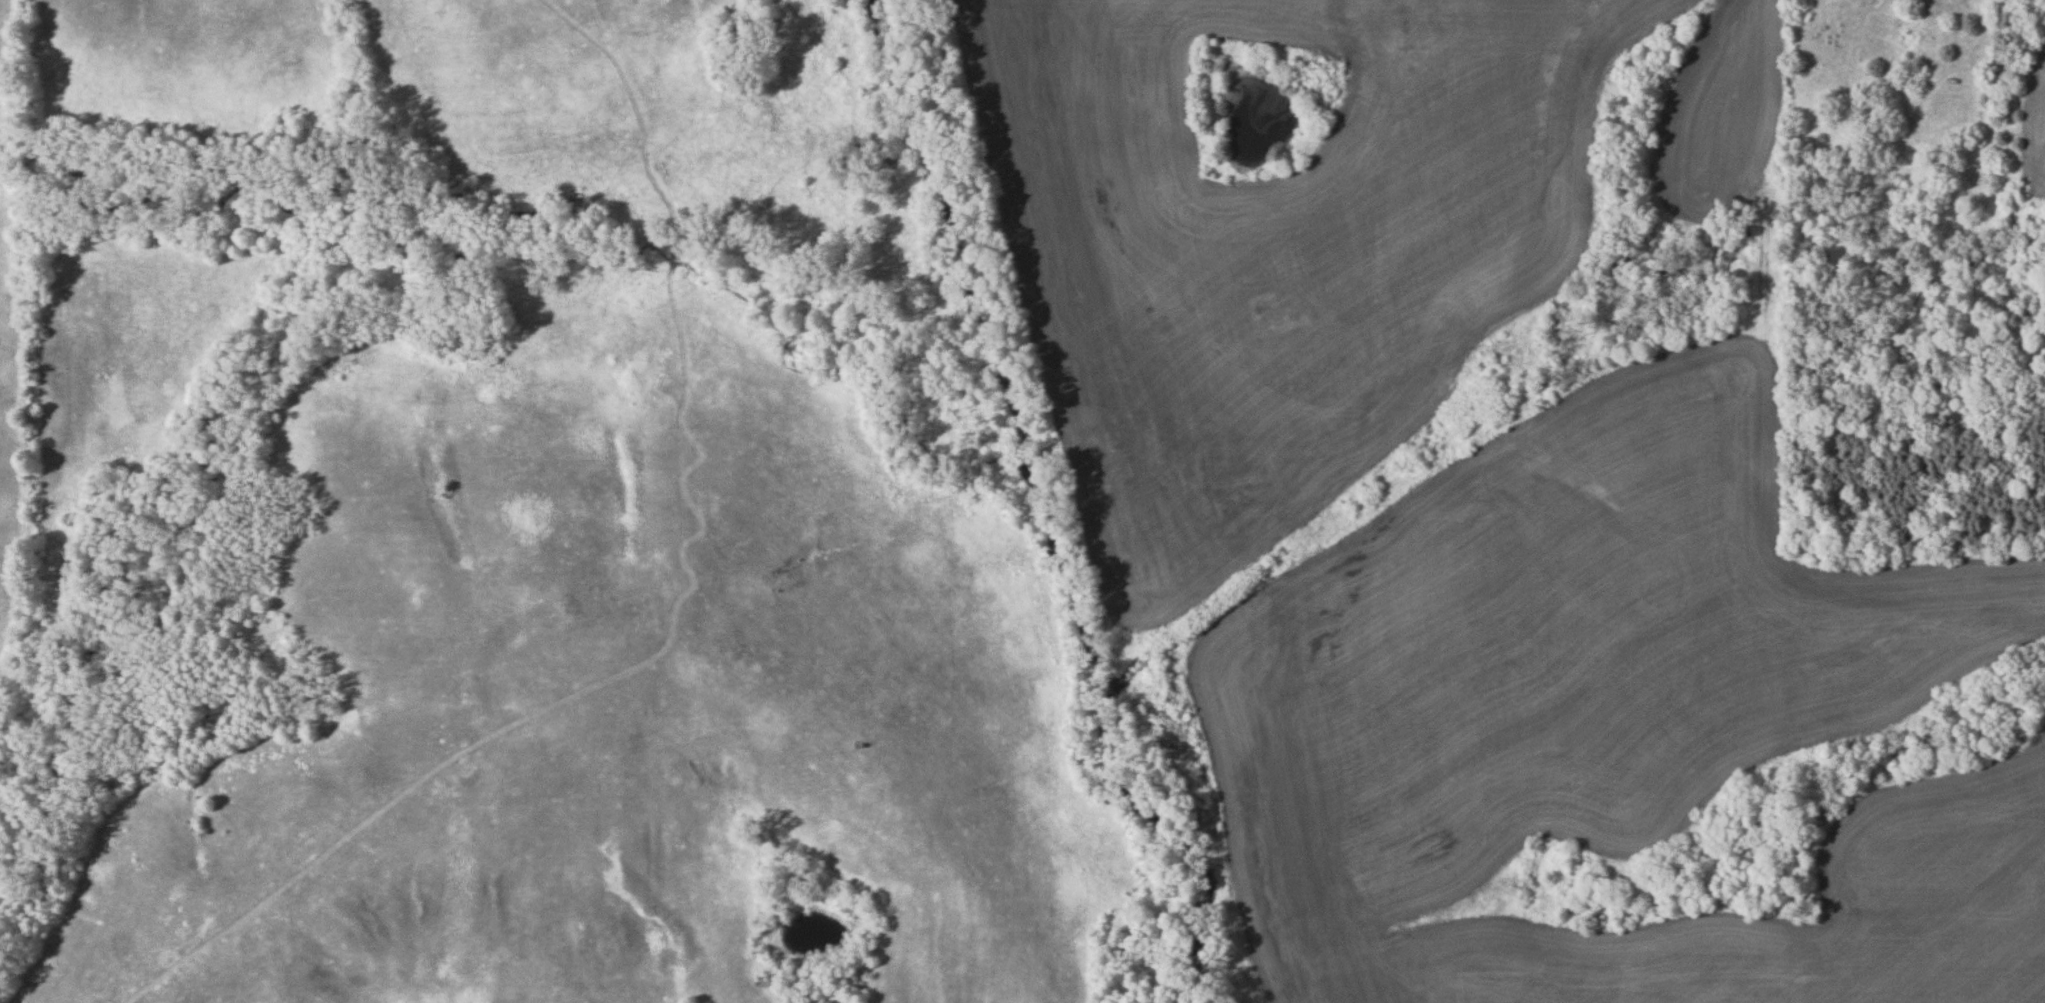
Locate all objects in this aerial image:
road: (1022, 824)

